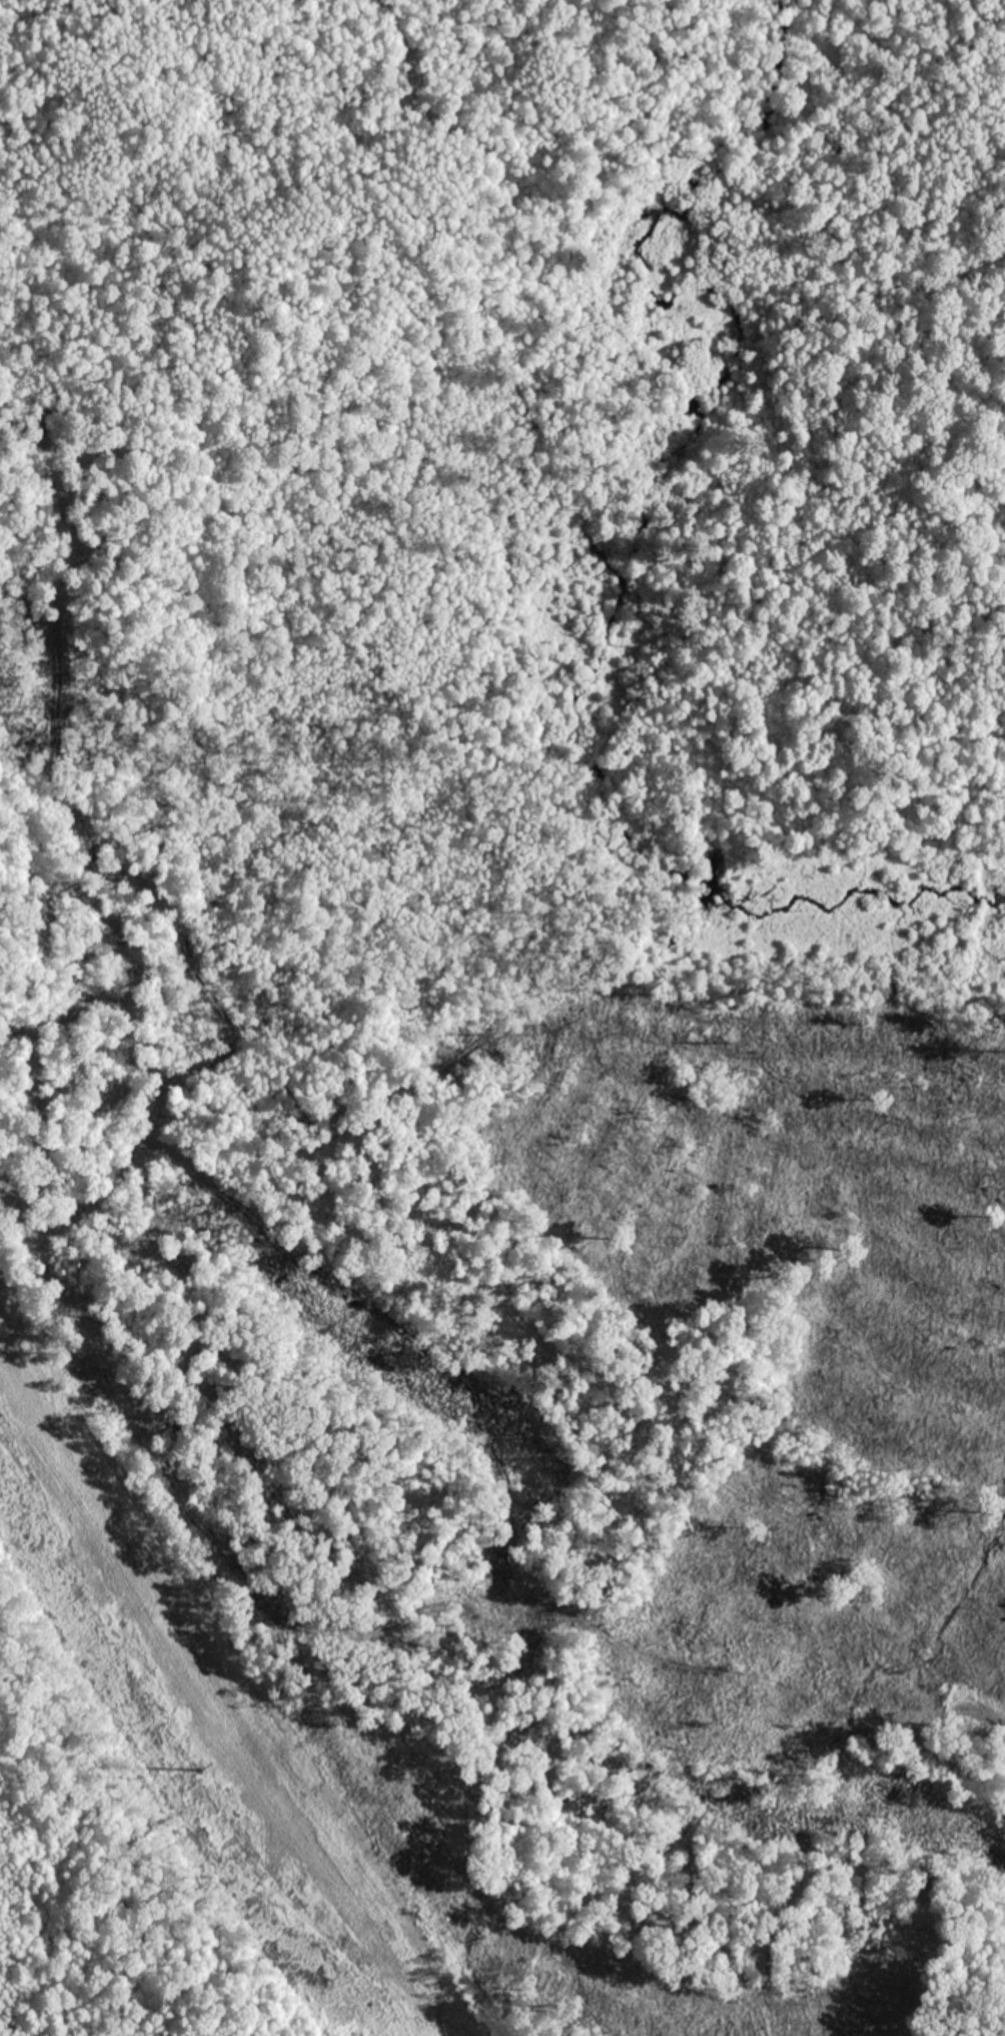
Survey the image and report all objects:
power tower: (198, 1767)

